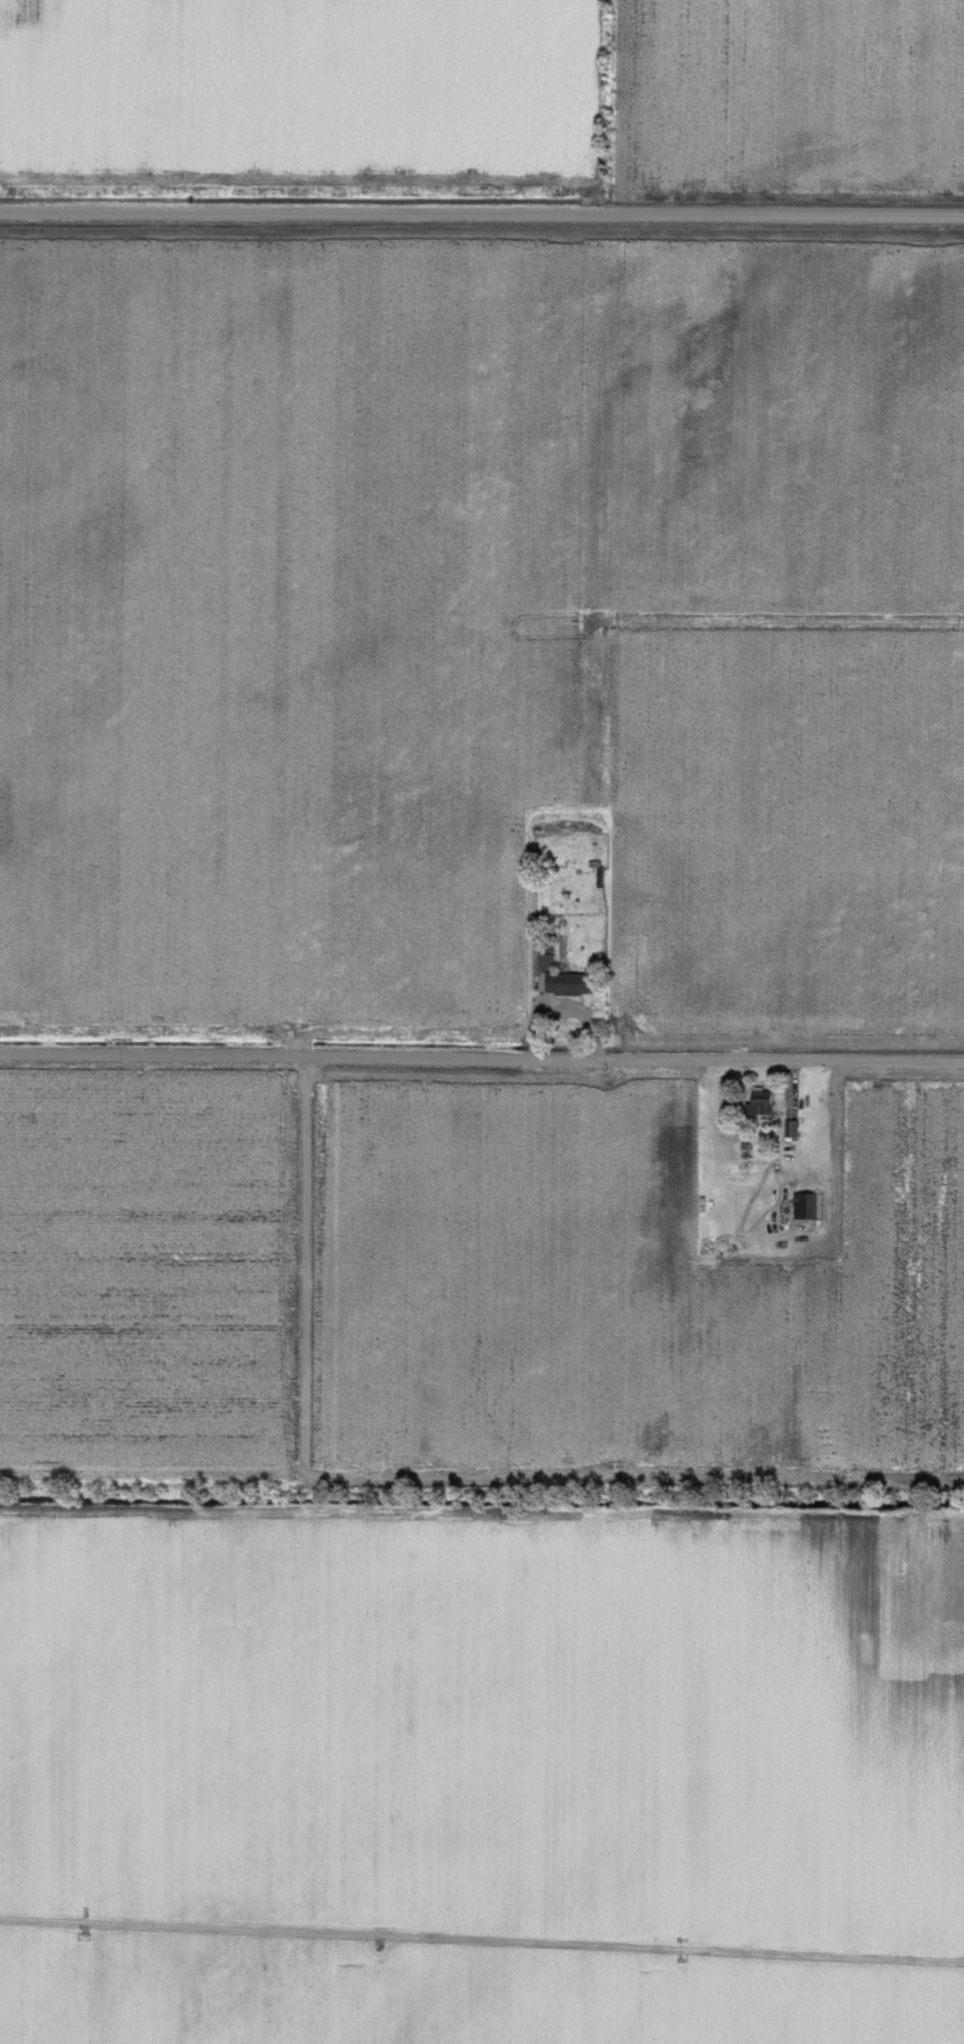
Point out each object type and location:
road: (482, 213)
building: (566, 984)
road: (482, 1058)
road: (835, 1156)
building: (807, 1206)
road: (481, 1940)

